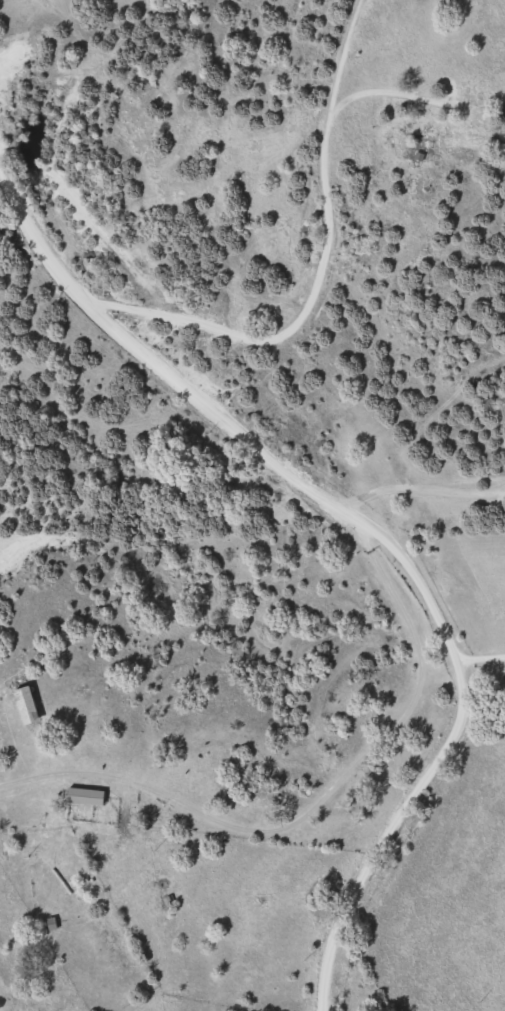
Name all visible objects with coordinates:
building: (479, 116)
building: (463, 140)
road: (295, 308)
road: (378, 530)
road: (483, 660)
building: (27, 704)
building: (86, 795)
road: (320, 801)
building: (53, 922)

